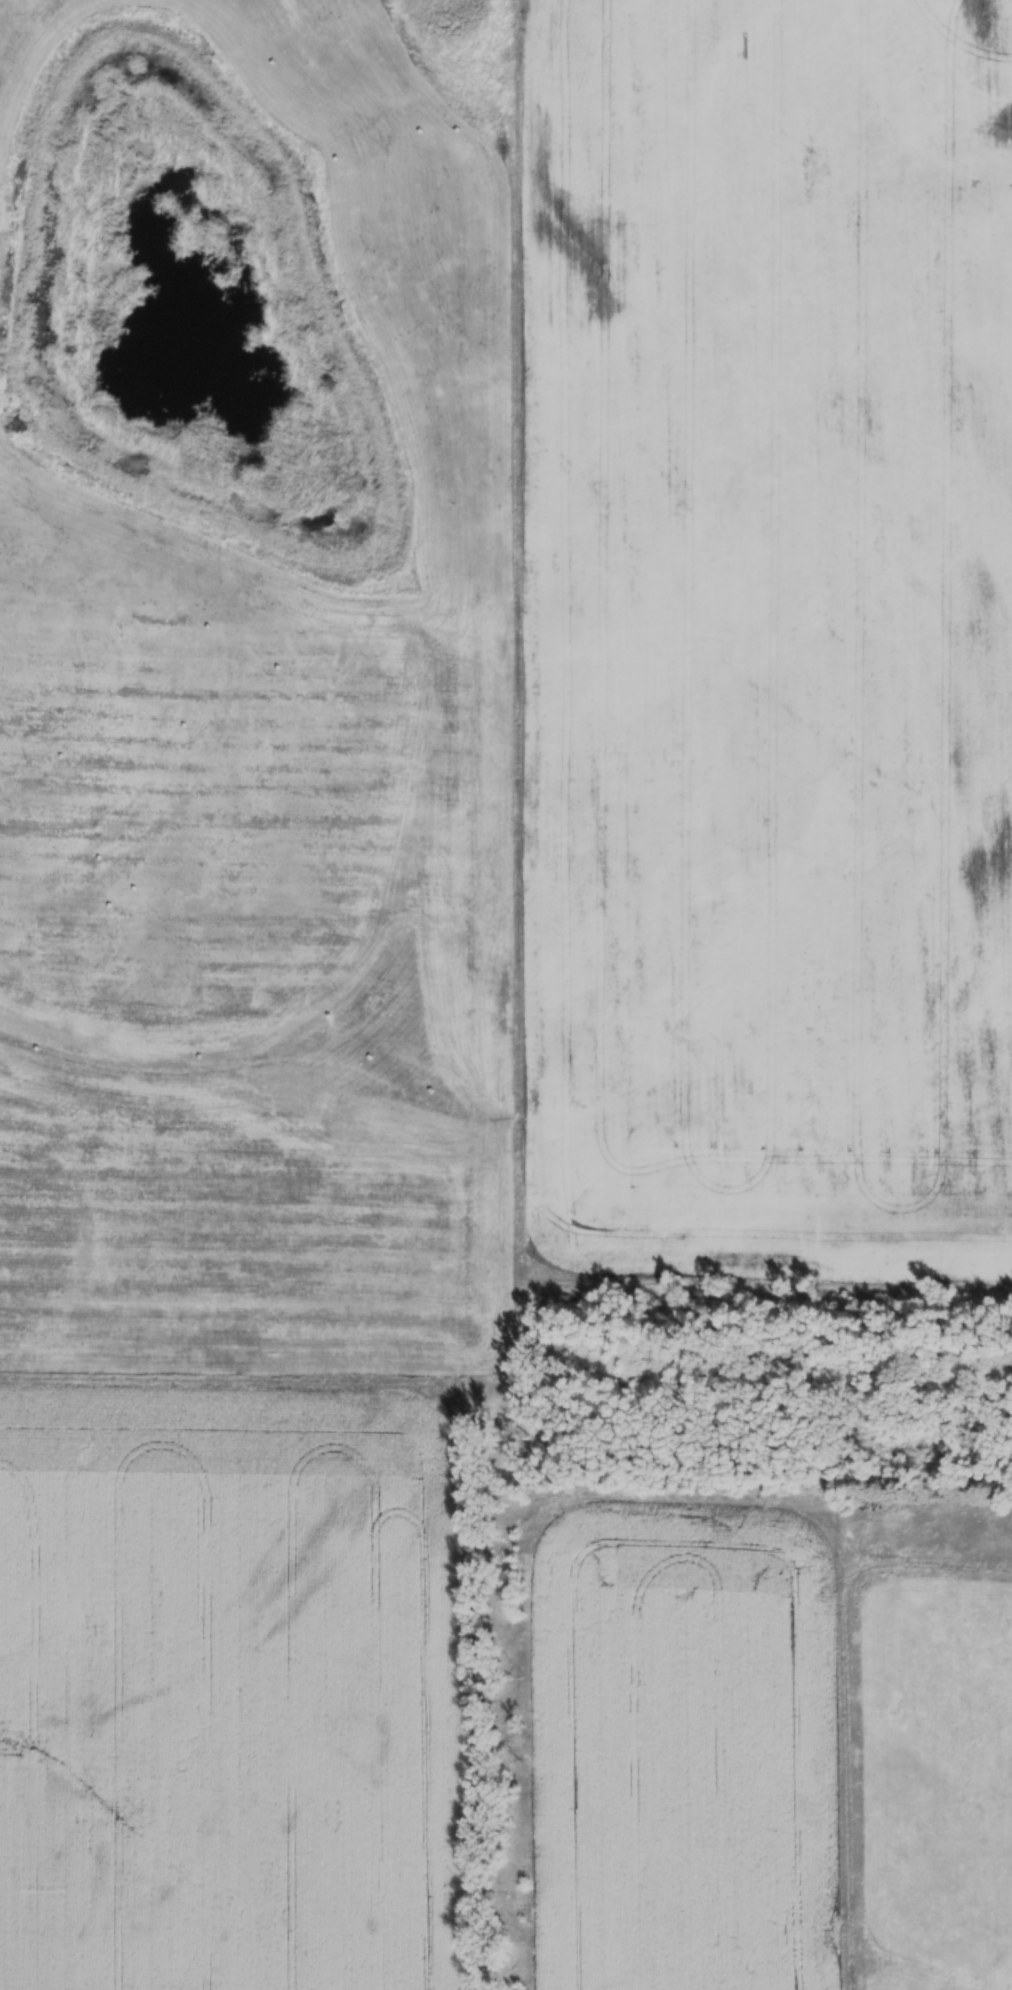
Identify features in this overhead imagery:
road: (846, 1699)

